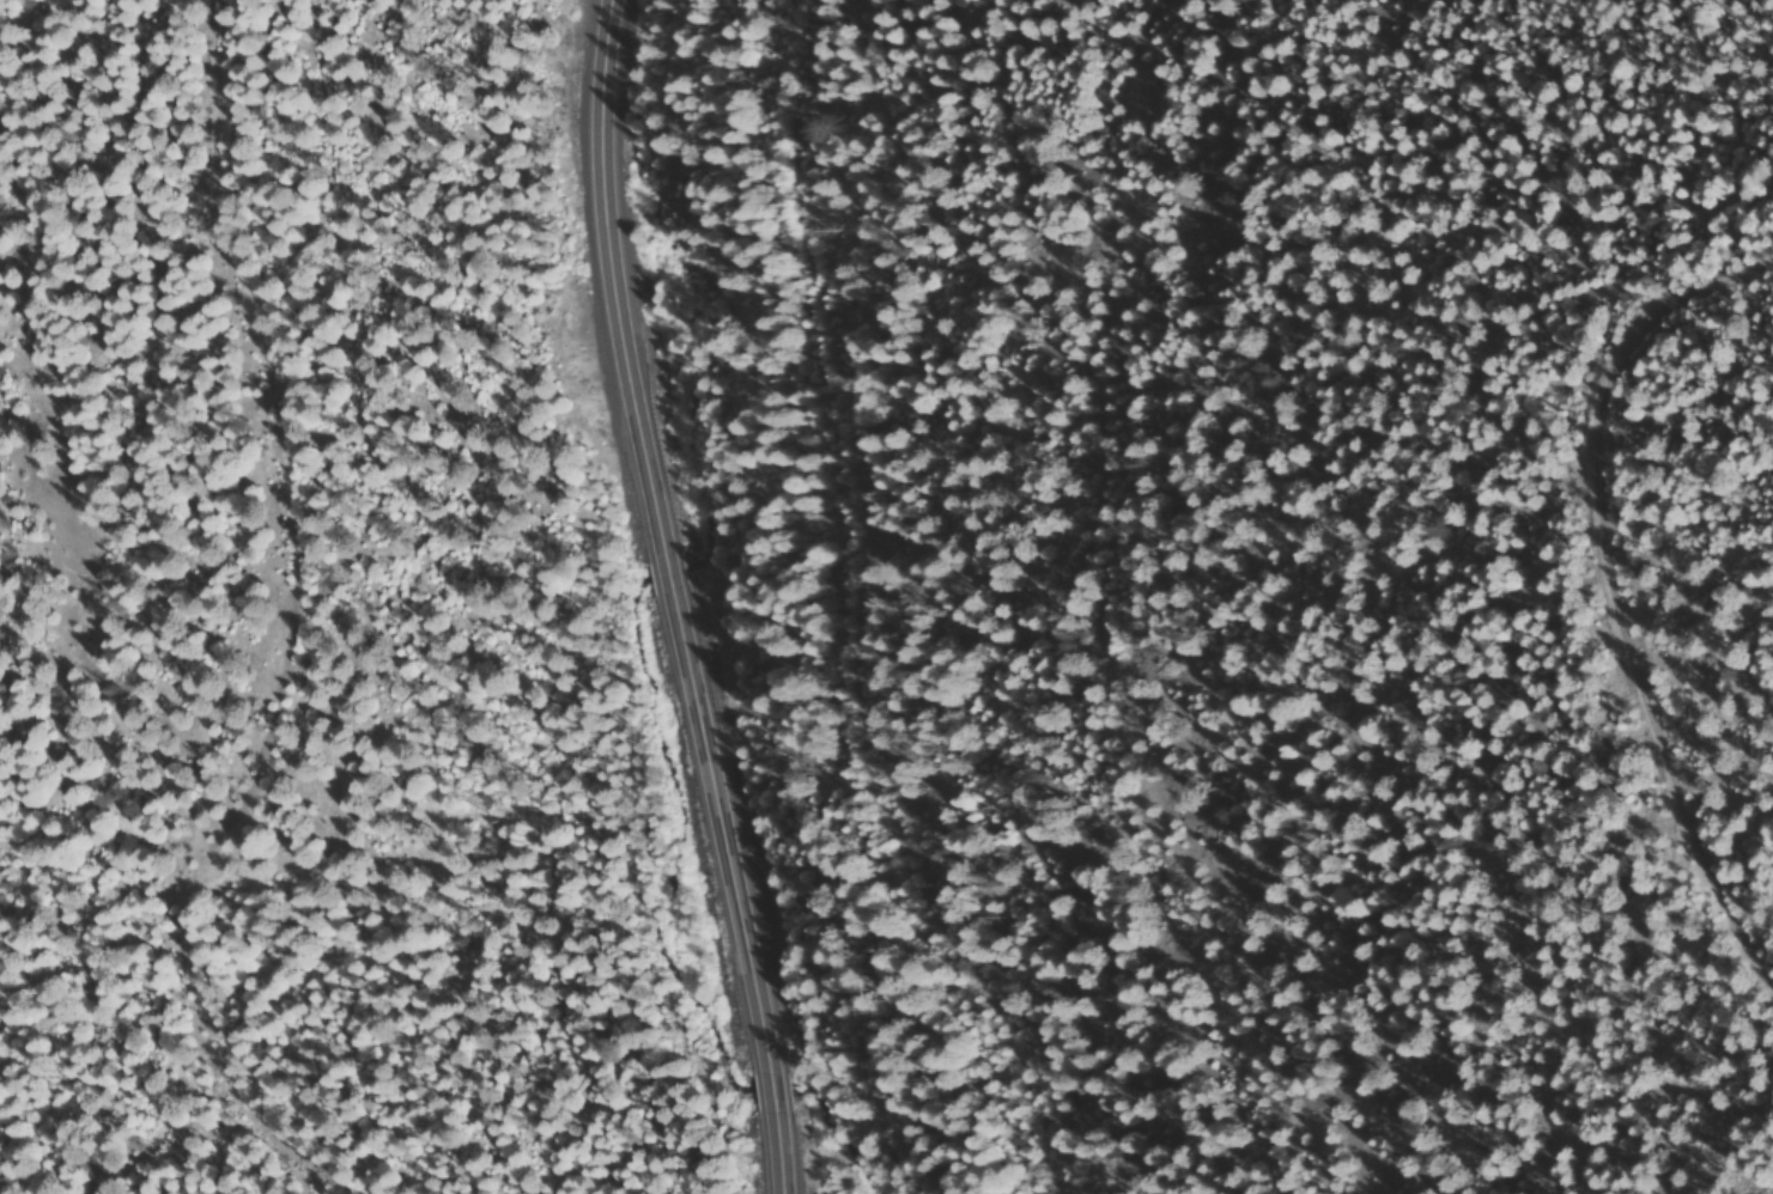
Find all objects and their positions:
road: (1619, 558)
road: (699, 597)
road: (1073, 604)
road: (122, 608)
road: (844, 609)

